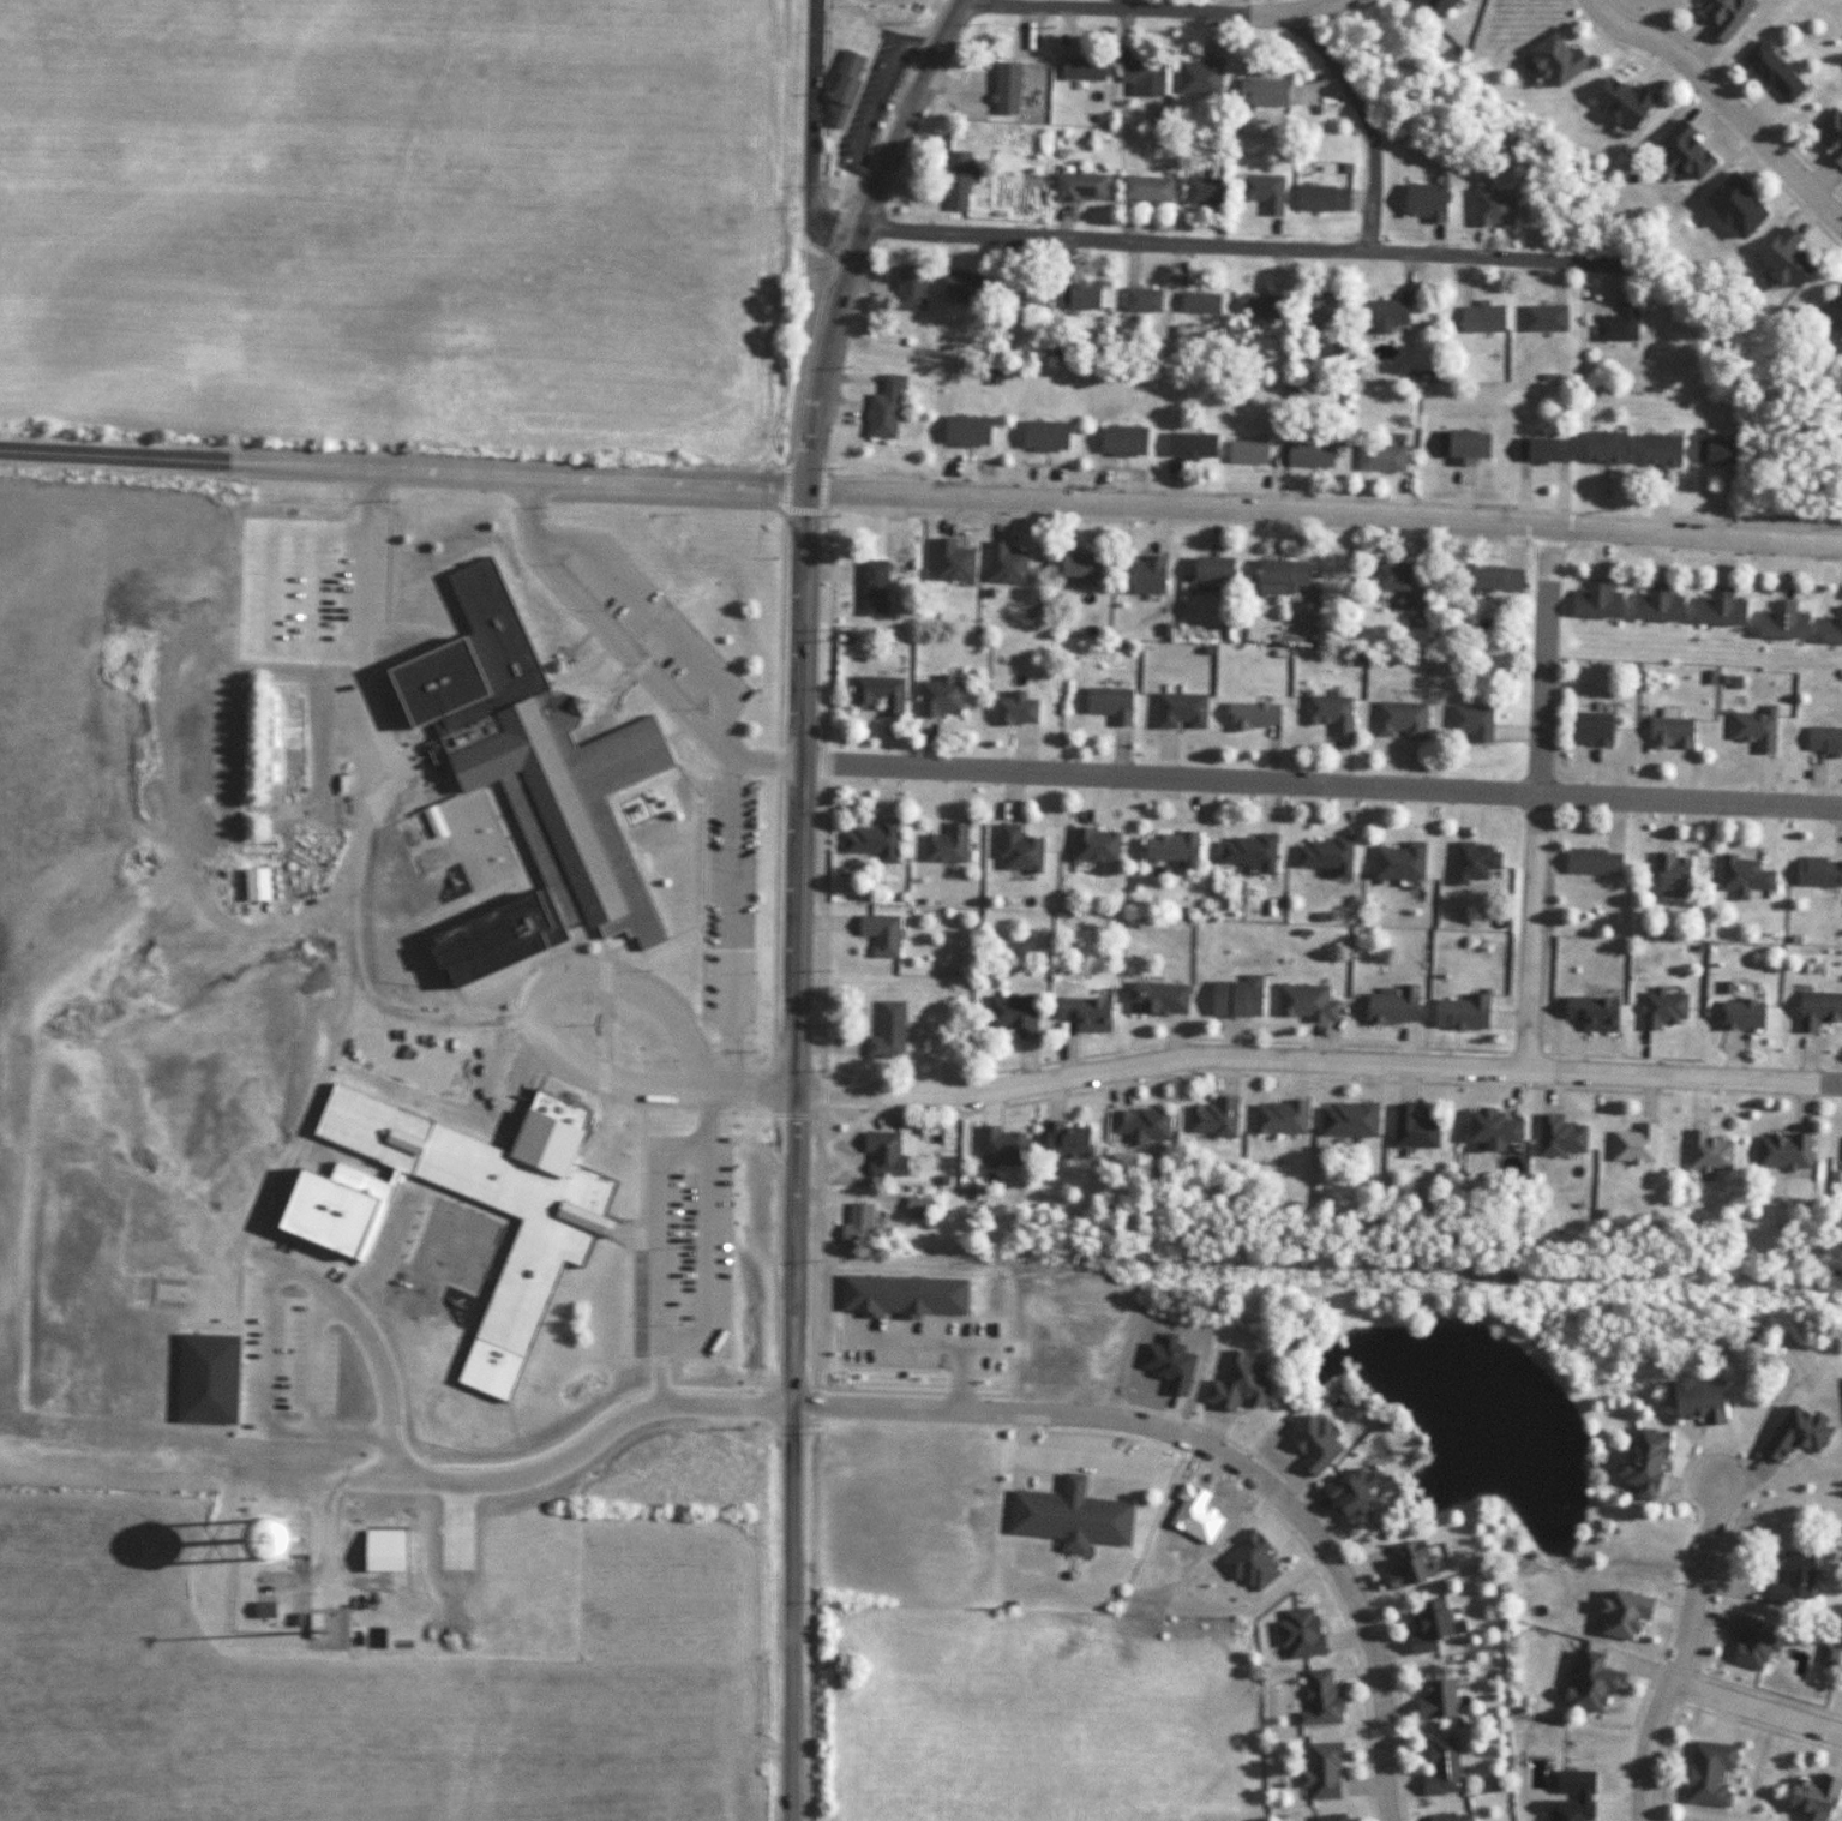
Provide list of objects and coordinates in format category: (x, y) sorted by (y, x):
building: (1432, 5)
road: (1148, 10)
building: (1721, 16)
building: (1552, 60)
building: (1079, 68)
building: (1769, 72)
building: (1140, 76)
building: (1198, 77)
building: (1002, 88)
road: (1735, 88)
building: (840, 89)
building: (1259, 92)
road: (1723, 102)
building: (1618, 103)
parking lot: (871, 107)
road: (902, 113)
road: (1715, 118)
road: (1368, 122)
road: (810, 131)
building: (1828, 136)
building: (1679, 151)
building: (956, 180)
building: (1078, 187)
building: (1142, 188)
building: (1201, 191)
building: (1260, 191)
building: (1309, 198)
building: (1420, 202)
building: (1730, 206)
building: (1490, 208)
road: (1110, 241)
road: (1470, 257)
building: (1781, 259)
building: (959, 286)
building: (908, 290)
building: (1015, 293)
building: (1075, 296)
building: (1139, 300)
building: (1195, 302)
building: (1831, 307)
building: (1253, 309)
building: (1313, 313)
building: (1384, 316)
building: (1615, 324)
building: (882, 408)
building: (962, 431)
building: (1042, 436)
building: (1120, 441)
building: (1188, 445)
building: (1460, 445)
building: (1598, 448)
building: (1540, 450)
building: (1654, 450)
building: (1715, 451)
building: (1244, 453)
building: (1306, 455)
building: (1376, 457)
road: (785, 485)
road: (822, 489)
road: (920, 493)
road: (1331, 497)
road: (803, 510)
road: (1176, 520)
road: (1549, 541)
road: (1703, 550)
building: (1075, 564)
building: (1208, 569)
building: (1145, 575)
building: (1277, 576)
building: (1386, 576)
building: (1487, 579)
building: (868, 587)
parking lot: (295, 589)
building: (1594, 600)
building: (1655, 604)
building: (1412, 609)
building: (1716, 609)
road: (652, 617)
parking lot: (648, 619)
building: (1777, 622)
building: (1830, 628)
road: (829, 636)
road: (630, 652)
road: (1542, 658)
road: (629, 671)
building: (877, 693)
building: (936, 697)
building: (1108, 705)
building: (1013, 711)
building: (1177, 712)
building: (1327, 714)
building: (1249, 717)
building: (1397, 720)
building: (1468, 723)
building: (1586, 730)
building: (1752, 730)
building: (1667, 735)
building: (1822, 739)
road: (1321, 781)
building: (527, 783)
road: (778, 816)
building: (871, 840)
building: (943, 845)
building: (1092, 845)
building: (1168, 849)
building: (1015, 850)
building: (1244, 852)
building: (1321, 856)
building: (1470, 861)
building: (1394, 862)
building: (1590, 862)
building: (1817, 871)
building: (1741, 873)
building: (1668, 875)
road: (698, 893)
parking lot: (724, 905)
road: (821, 918)
road: (726, 922)
road: (1530, 930)
building: (877, 933)
road: (823, 934)
building: (1153, 998)
building: (1234, 998)
building: (1302, 1004)
building: (1390, 1007)
building: (1660, 1010)
building: (1816, 1010)
building: (1082, 1013)
building: (1457, 1013)
building: (1589, 1013)
road: (440, 1014)
building: (1009, 1016)
building: (1736, 1016)
road: (347, 1017)
road: (1511, 1017)
road: (798, 1023)
building: (884, 1032)
road: (1231, 1038)
road: (1171, 1041)
road: (1330, 1042)
road: (1404, 1044)
road: (826, 1046)
road: (1322, 1046)
road: (1574, 1049)
road: (1068, 1050)
parking lot: (421, 1054)
road: (1646, 1055)
road: (1805, 1055)
road: (1733, 1056)
road: (1318, 1060)
road: (1027, 1067)
road: (1225, 1070)
road: (1297, 1074)
road: (1367, 1079)
road: (1404, 1084)
road: (761, 1085)
road: (1092, 1085)
road: (1120, 1086)
road: (617, 1089)
road: (1512, 1090)
road: (1550, 1090)
road: (1054, 1092)
road: (1645, 1096)
road: (1697, 1100)
road: (990, 1104)
road: (1802, 1104)
road: (872, 1107)
building: (1211, 1118)
building: (1277, 1118)
building: (1345, 1119)
building: (1139, 1126)
building: (1487, 1127)
road: (638, 1128)
building: (1409, 1128)
building: (1556, 1137)
building: (1063, 1142)
building: (1631, 1144)
building: (998, 1148)
building: (1780, 1152)
building: (882, 1154)
building: (1705, 1154)
road: (816, 1194)
building: (916, 1208)
building: (857, 1224)
building: (551, 1244)
parking lot: (686, 1248)
road: (654, 1251)
road: (628, 1286)
parking lot: (288, 1328)
building: (1693, 1402)
building: (1792, 1434)
road: (1217, 1457)
building: (1637, 1464)
road: (527, 1473)
building: (1069, 1516)
building: (1405, 1568)
building: (1789, 1580)
water tower: (258, 1594)
building: (259, 1611)
building: (1619, 1613)
building: (1423, 1627)
road: (1686, 1659)
building: (1588, 1682)
building: (1316, 1699)
building: (1434, 1699)
road: (1758, 1717)
building: (1439, 1767)
building: (1319, 1769)
building: (1705, 1773)
building: (1810, 1797)
building: (1565, 1809)
building: (1328, 1816)
building: (1450, 1816)

